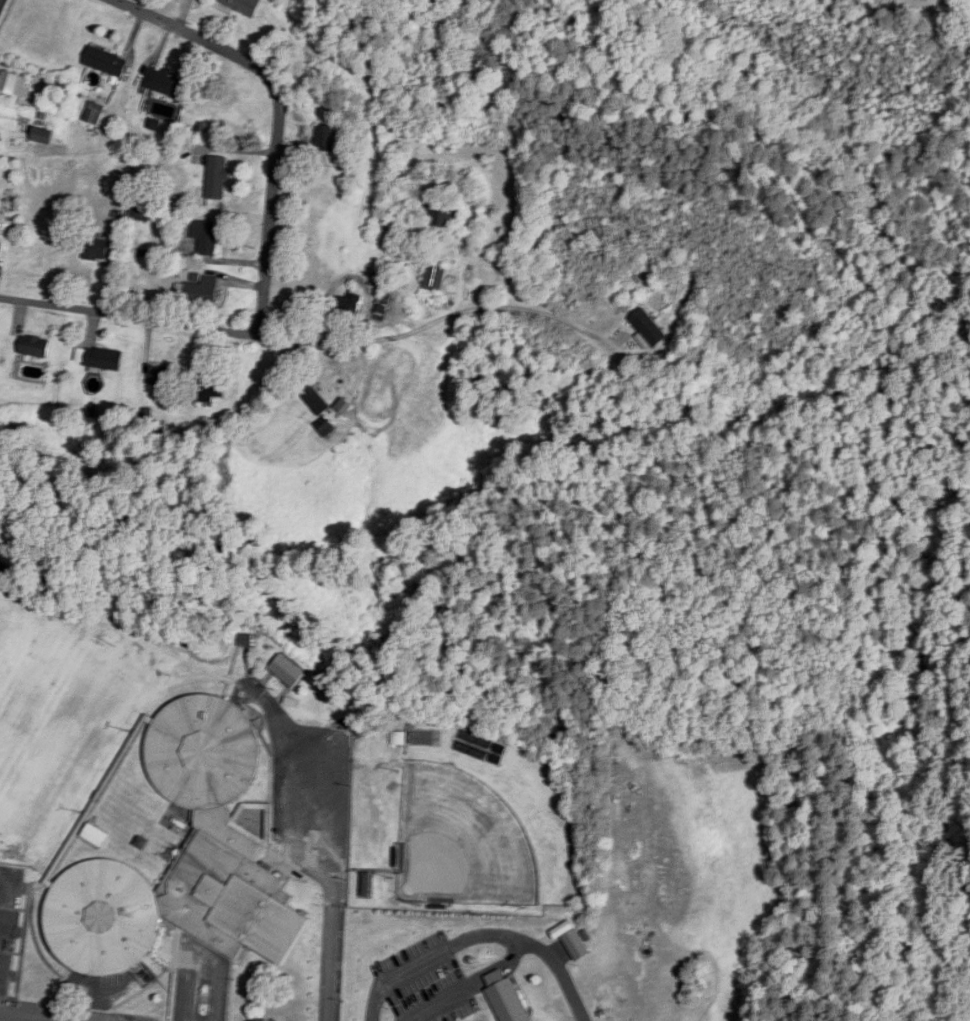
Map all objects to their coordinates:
road: (0, 0)
building: (244, 5)
building: (105, 61)
building: (164, 82)
building: (14, 83)
building: (42, 135)
building: (0, 138)
building: (325, 138)
building: (217, 177)
building: (439, 211)
building: (206, 237)
road: (267, 248)
building: (99, 250)
building: (434, 277)
building: (201, 289)
building: (347, 308)
road: (442, 317)
building: (649, 328)
building: (34, 346)
building: (103, 358)
building: (163, 386)
building: (210, 387)
building: (314, 397)
building: (343, 407)
building: (325, 427)
building: (287, 671)
building: (400, 738)
road: (303, 748)
building: (95, 835)
park: (462, 842)
building: (184, 860)
road: (8, 883)
road: (480, 934)
building: (576, 944)
road: (331, 954)
road: (468, 981)
road: (198, 991)
building: (508, 998)
road: (23, 1017)
road: (410, 1020)

